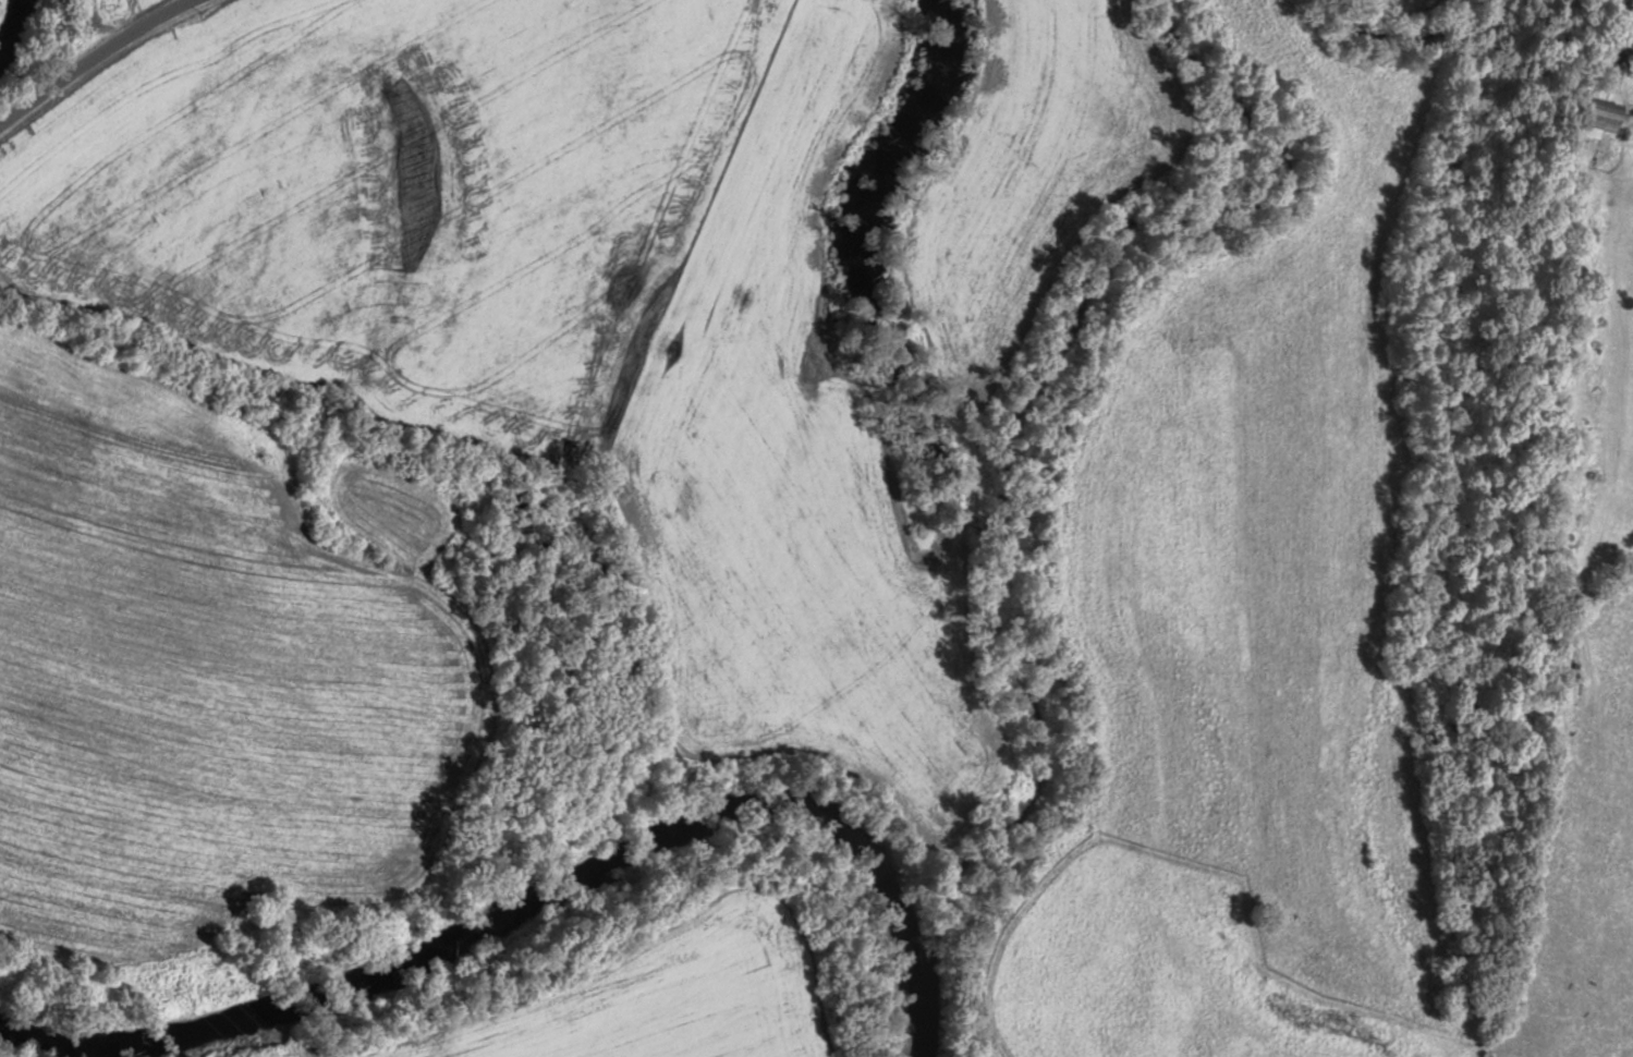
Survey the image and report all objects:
road: (92, 59)
building: (1602, 118)

